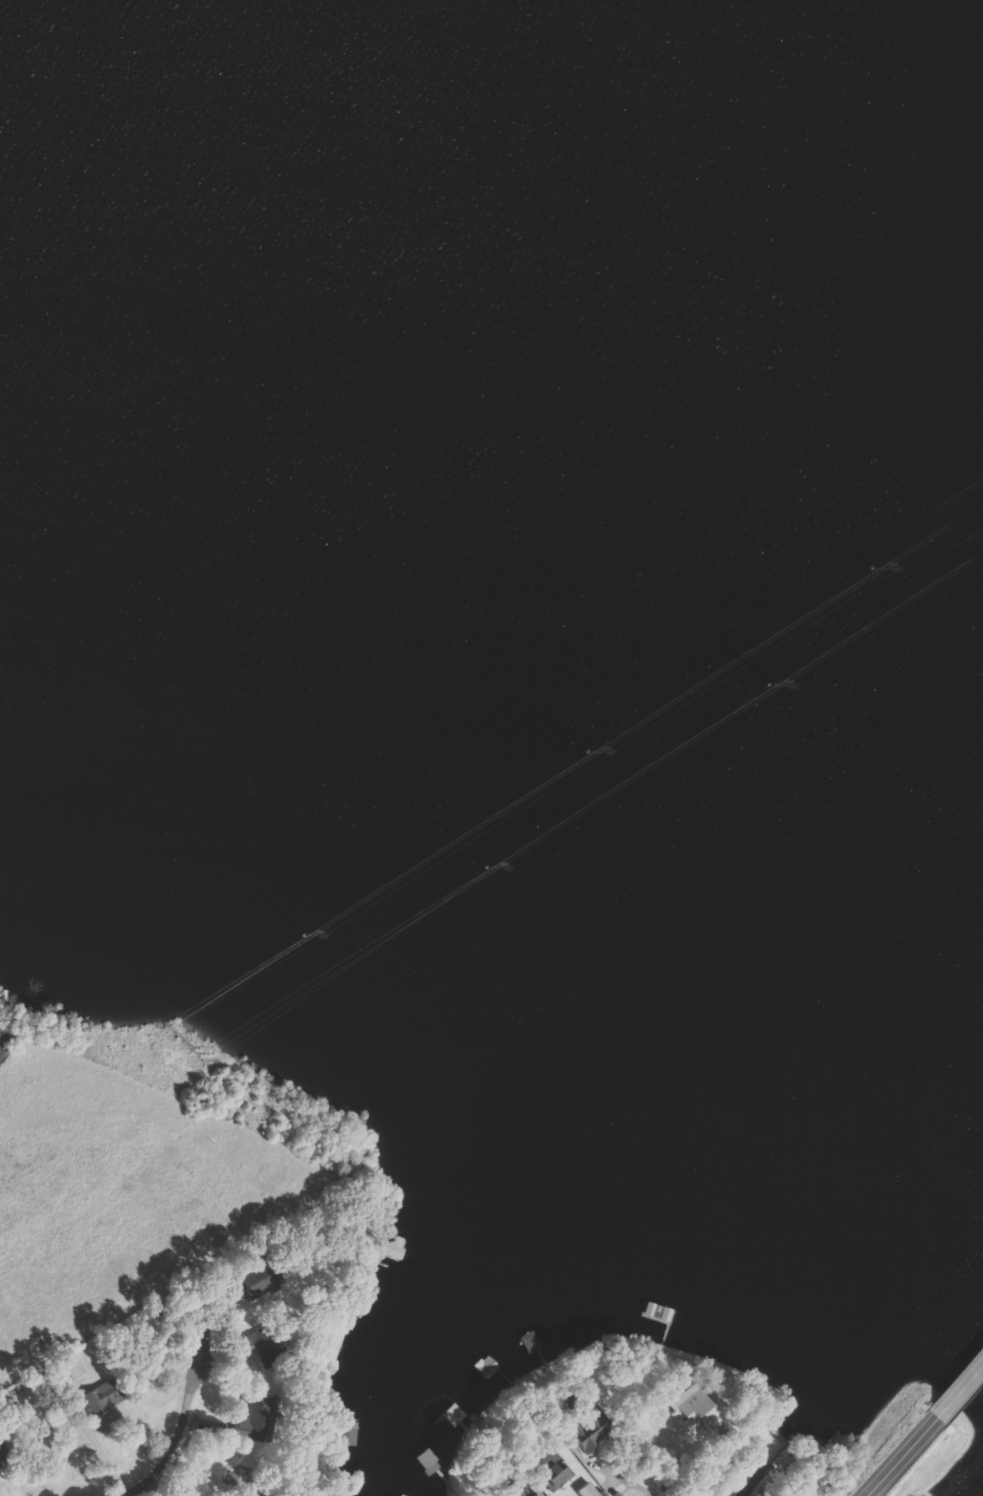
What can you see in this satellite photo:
building: (399, 1248)
building: (533, 1342)
building: (266, 1347)
building: (488, 1366)
building: (75, 1367)
road: (961, 1374)
building: (103, 1398)
building: (702, 1408)
building: (455, 1415)
building: (259, 1418)
road: (180, 1425)
building: (591, 1434)
road: (898, 1447)
building: (4, 1452)
building: (555, 1469)
road: (752, 1479)
building: (520, 1489)
building: (587, 1490)
building: (405, 1495)

